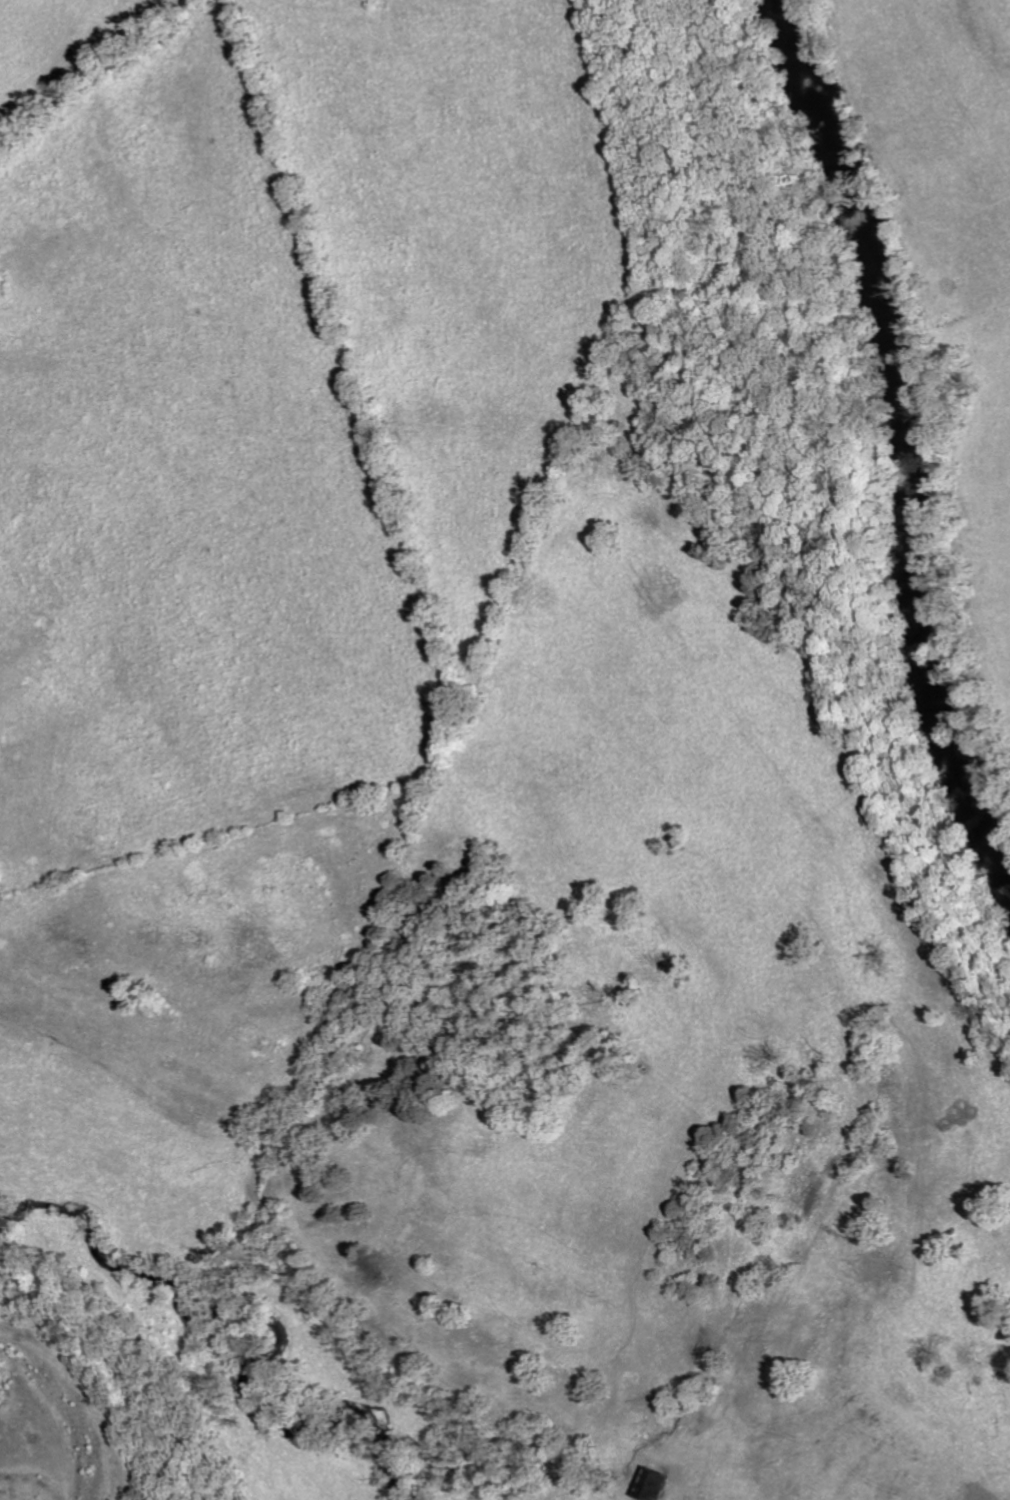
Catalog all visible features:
building: (656, 1484)

